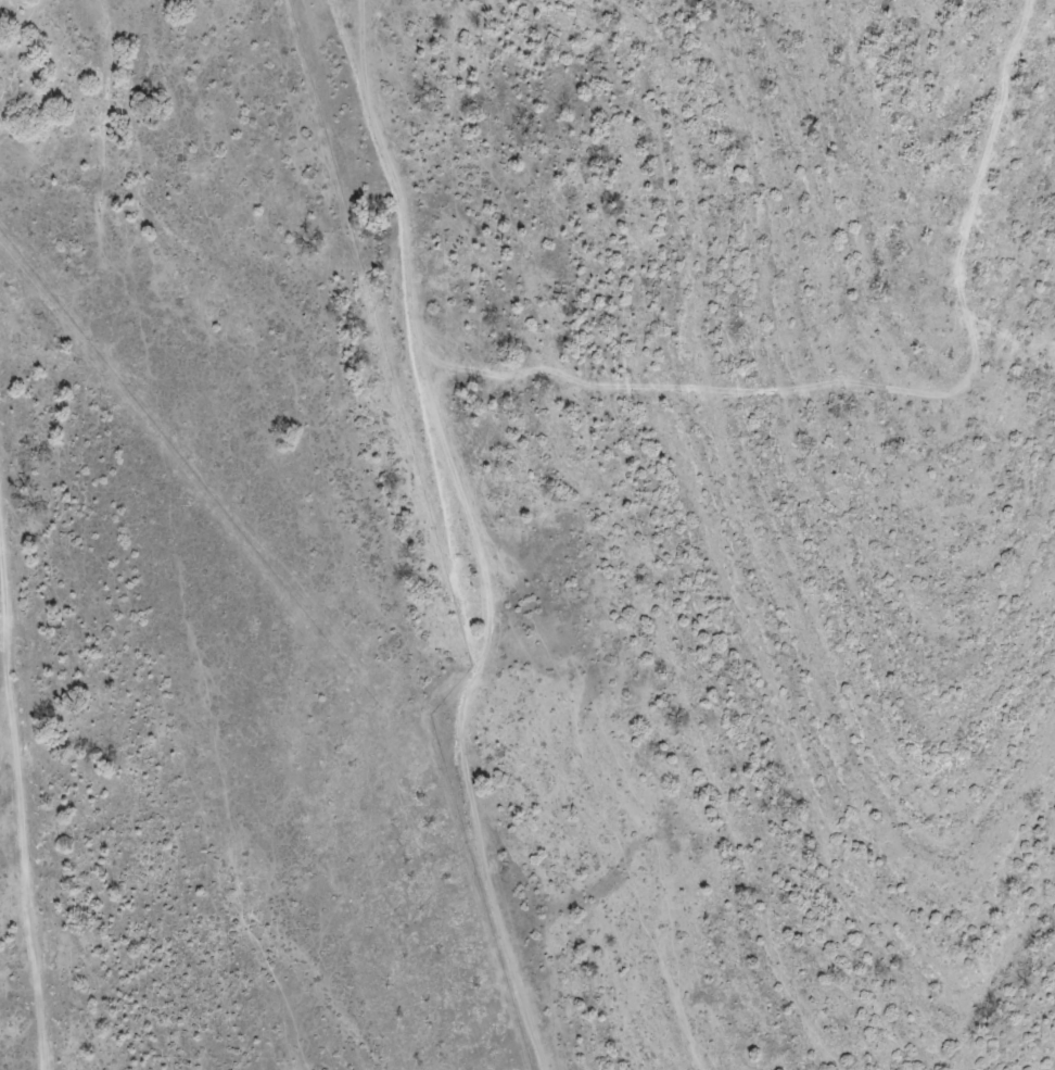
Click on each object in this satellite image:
road: (1022, 244)
road: (185, 534)

